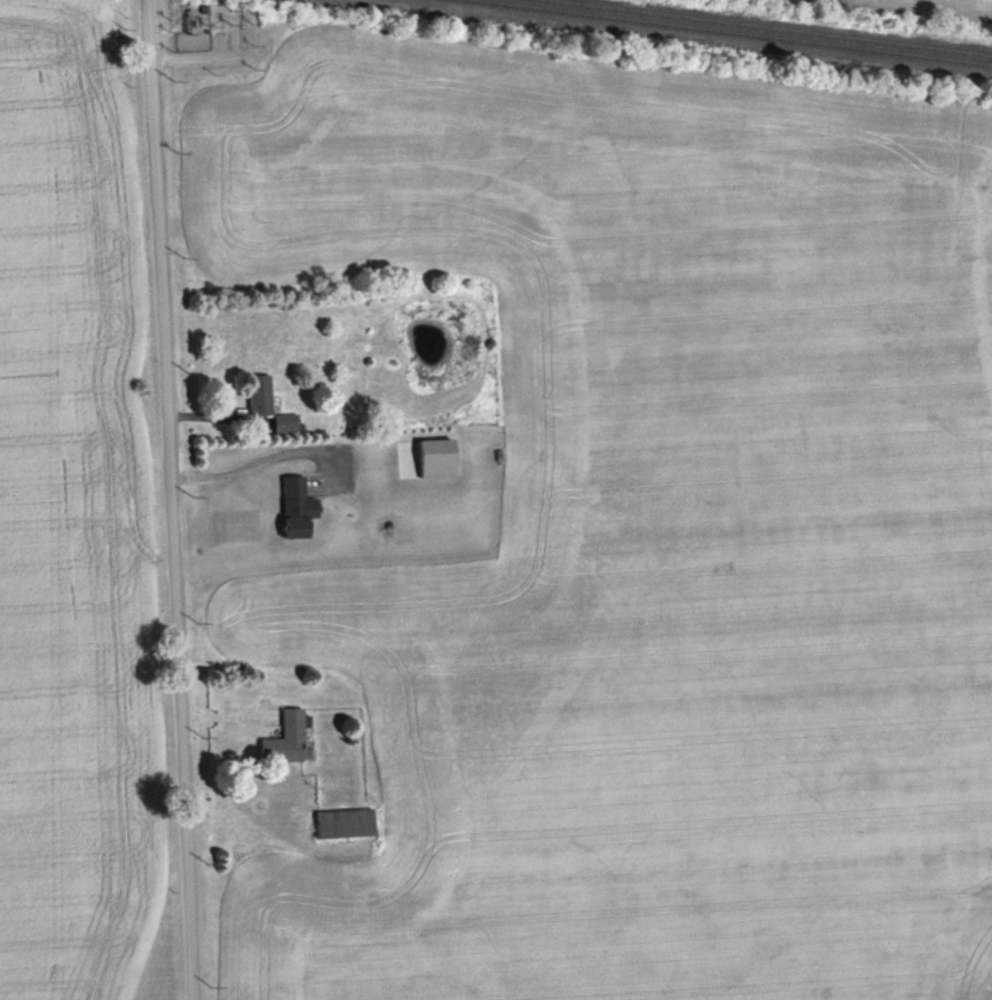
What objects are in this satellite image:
railway: (767, 28)
railway: (726, 33)
building: (258, 394)
building: (285, 423)
road: (167, 499)
building: (295, 508)
building: (284, 739)
building: (343, 823)
building: (300, 892)

